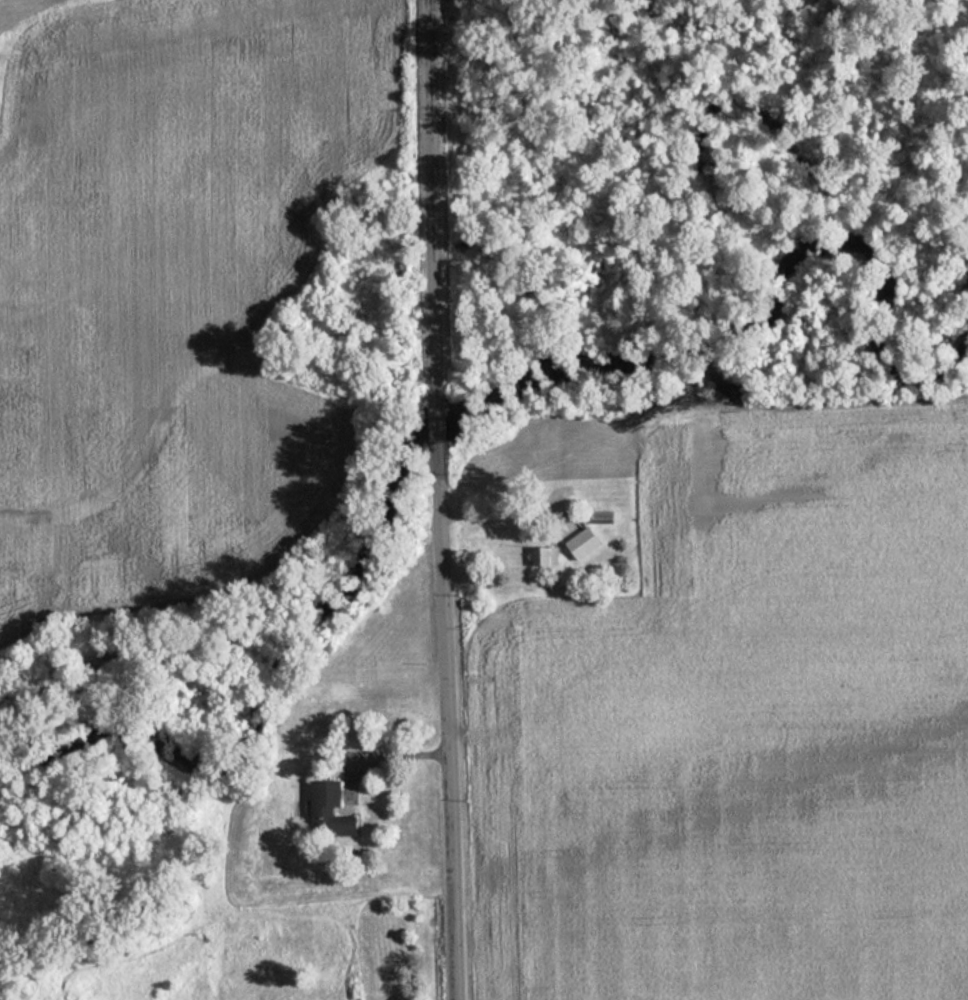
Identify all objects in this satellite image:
road: (436, 500)
road: (492, 514)
building: (599, 517)
building: (543, 557)
crop: (742, 728)
road: (379, 755)
building: (326, 809)

